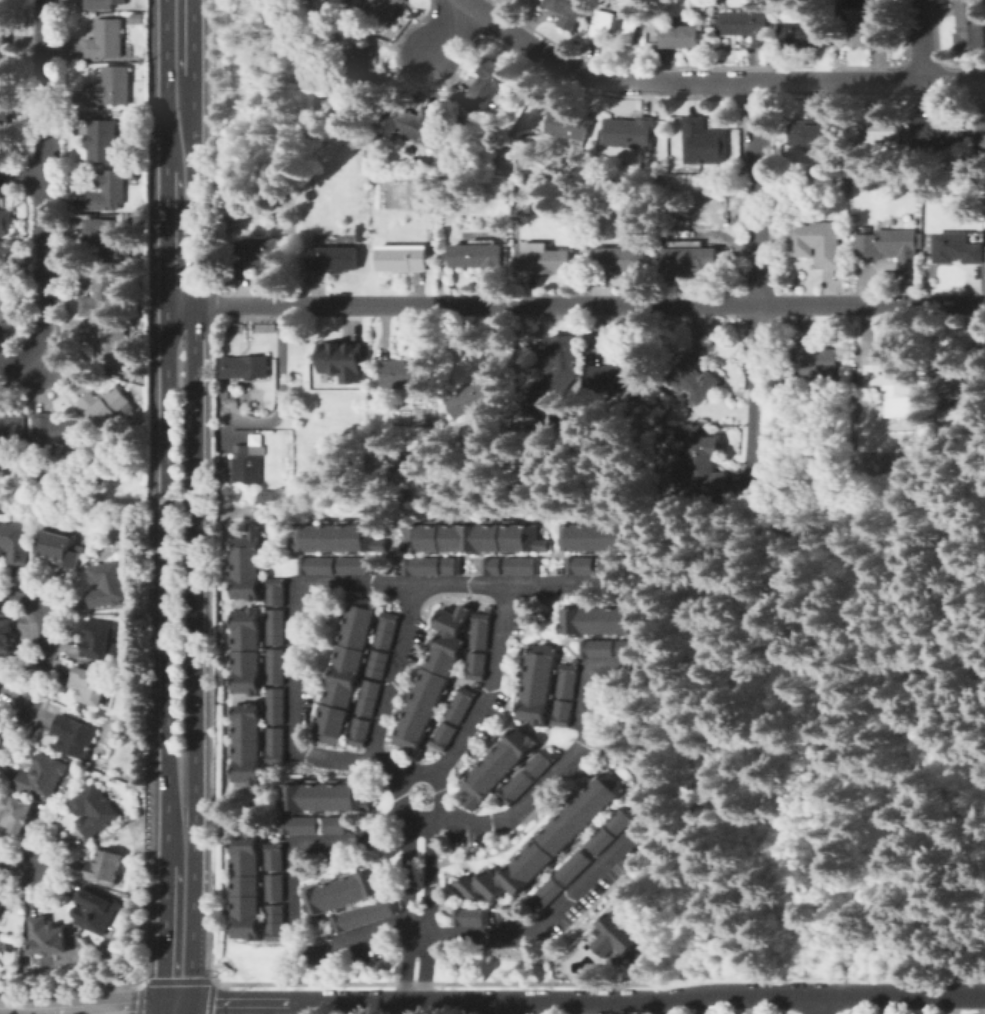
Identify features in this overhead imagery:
building: (320, 0)
building: (8, 4)
building: (103, 4)
building: (380, 8)
building: (566, 11)
building: (322, 12)
building: (137, 18)
building: (970, 24)
building: (748, 26)
road: (444, 27)
building: (614, 27)
building: (870, 28)
building: (803, 35)
building: (680, 36)
building: (106, 39)
road: (919, 40)
building: (4, 41)
building: (3, 66)
building: (364, 69)
road: (713, 82)
building: (488, 84)
building: (111, 87)
building: (2, 113)
building: (408, 123)
building: (569, 125)
road: (757, 126)
building: (882, 130)
building: (629, 132)
building: (814, 132)
building: (939, 132)
building: (980, 135)
building: (103, 141)
building: (704, 143)
road: (180, 153)
building: (508, 154)
building: (377, 156)
building: (666, 159)
building: (672, 164)
building: (519, 167)
road: (22, 173)
road: (44, 179)
building: (107, 190)
building: (525, 192)
building: (853, 217)
building: (6, 222)
building: (109, 235)
building: (361, 235)
building: (816, 241)
building: (892, 248)
building: (958, 249)
building: (5, 252)
building: (257, 253)
building: (479, 256)
building: (403, 258)
building: (621, 258)
building: (697, 258)
building: (334, 259)
building: (548, 261)
building: (13, 270)
building: (103, 295)
building: (7, 305)
road: (582, 305)
road: (759, 331)
building: (111, 343)
building: (339, 360)
road: (21, 361)
building: (818, 365)
building: (245, 367)
building: (623, 373)
building: (403, 374)
building: (560, 375)
building: (328, 379)
building: (695, 380)
building: (888, 380)
building: (959, 381)
road: (277, 394)
building: (479, 398)
building: (943, 402)
building: (105, 405)
building: (826, 424)
building: (55, 431)
building: (13, 432)
building: (283, 445)
building: (404, 456)
building: (395, 461)
building: (243, 465)
building: (703, 468)
building: (408, 493)
building: (267, 497)
road: (762, 506)
building: (134, 524)
building: (596, 538)
building: (336, 539)
building: (473, 539)
building: (15, 541)
building: (59, 549)
road: (168, 565)
road: (195, 566)
building: (248, 566)
building: (316, 566)
building: (452, 566)
building: (522, 566)
building: (581, 566)
building: (611, 566)
building: (355, 567)
building: (421, 567)
building: (491, 567)
building: (108, 585)
building: (275, 593)
road: (22, 597)
building: (602, 621)
building: (447, 622)
building: (460, 622)
building: (276, 628)
building: (386, 631)
road: (499, 631)
building: (481, 632)
road: (293, 636)
building: (6, 641)
building: (101, 641)
building: (598, 649)
building: (633, 649)
building: (247, 652)
road: (836, 661)
building: (378, 665)
building: (276, 667)
building: (477, 667)
building: (347, 670)
road: (390, 677)
building: (2, 681)
road: (38, 681)
building: (568, 682)
building: (539, 684)
building: (91, 685)
building: (429, 693)
building: (369, 699)
road: (688, 704)
building: (460, 706)
building: (276, 707)
building: (562, 713)
building: (360, 733)
building: (75, 736)
building: (443, 737)
building: (332, 742)
building: (247, 744)
building: (276, 746)
road: (566, 761)
building: (541, 762)
building: (499, 766)
building: (44, 776)
building: (516, 787)
building: (327, 797)
building: (95, 810)
building: (16, 812)
building: (622, 820)
building: (302, 825)
building: (339, 825)
building: (601, 840)
building: (547, 843)
building: (276, 856)
road: (18, 865)
building: (105, 867)
building: (574, 867)
road: (410, 881)
road: (429, 886)
building: (247, 887)
building: (275, 888)
building: (347, 892)
building: (546, 895)
building: (1, 901)
building: (95, 910)
building: (366, 916)
building: (471, 917)
road: (178, 919)
building: (274, 923)
building: (620, 930)
road: (424, 932)
building: (48, 937)
road: (840, 958)
road: (984, 976)
road: (824, 997)
road: (420, 1000)
traffic signals: (177, 1004)
road: (817, 1005)
road: (666, 1006)
road: (88, 1008)

